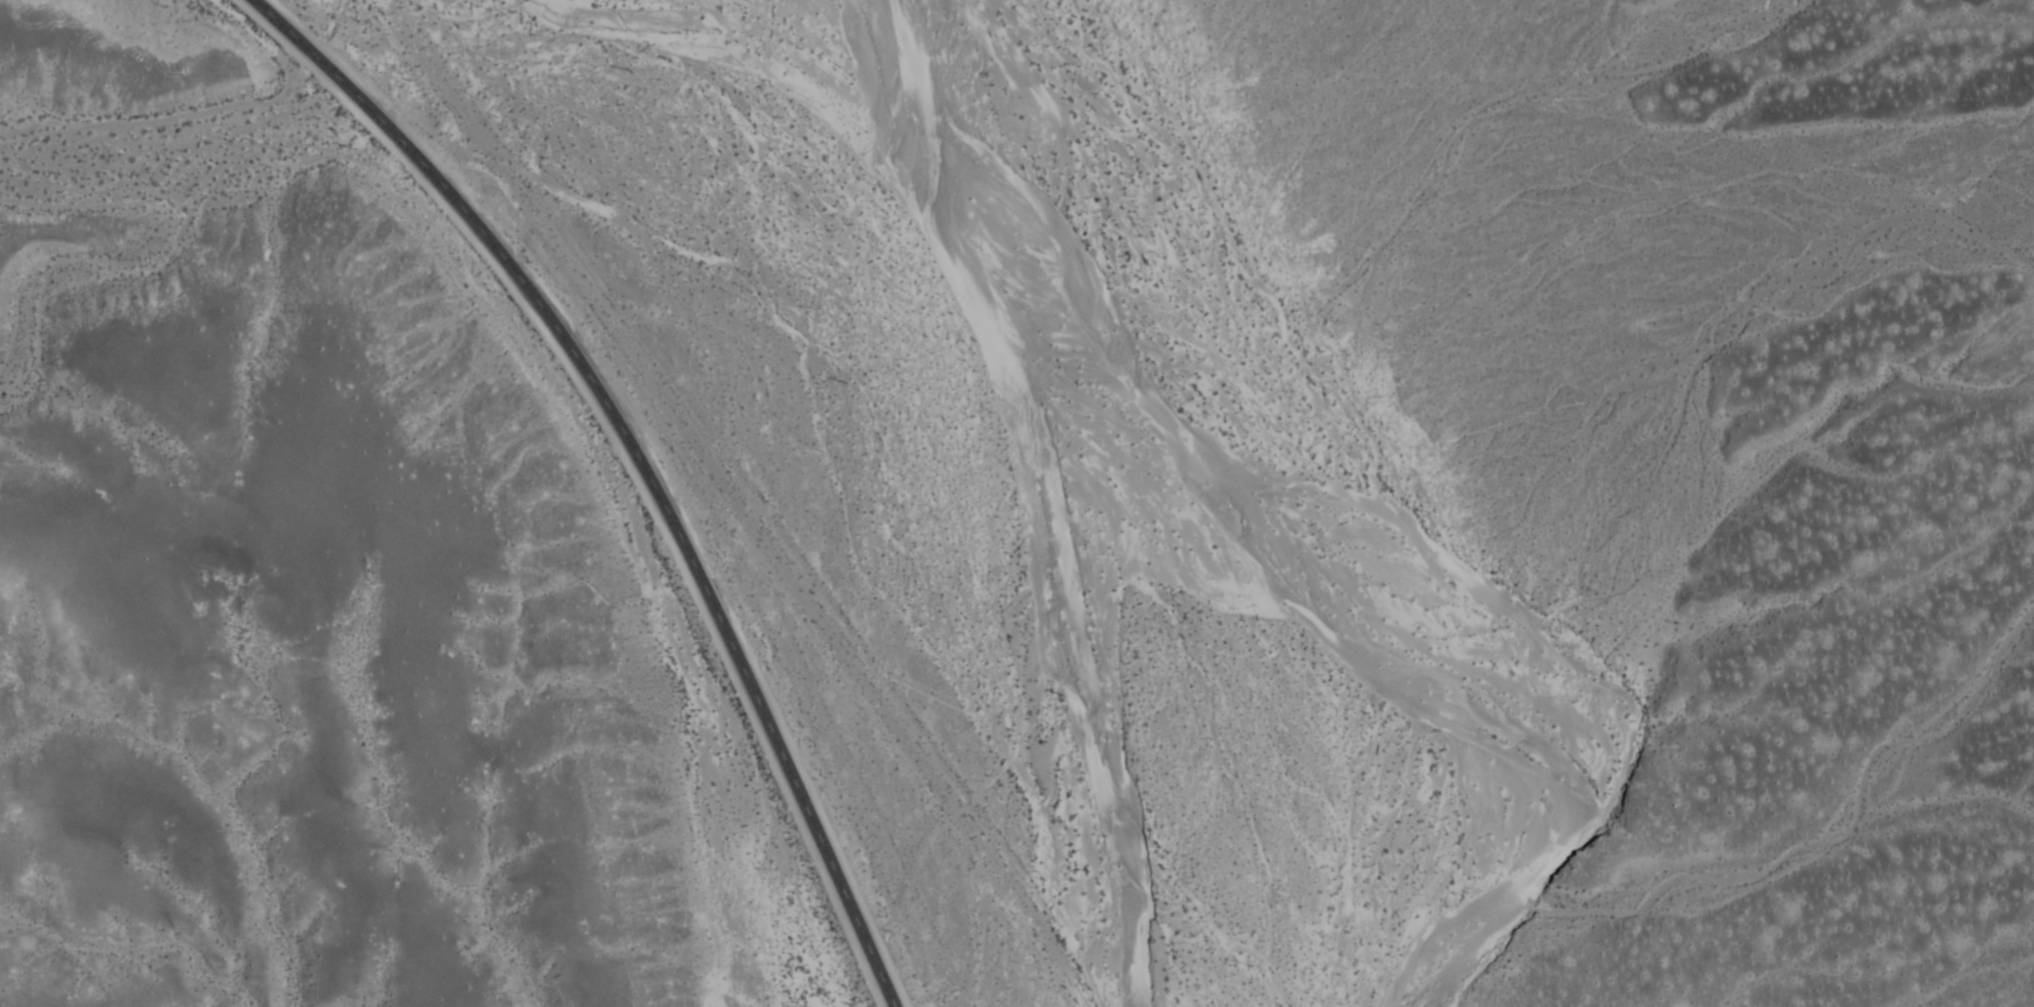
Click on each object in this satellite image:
river: (1230, 444)
road: (638, 461)

